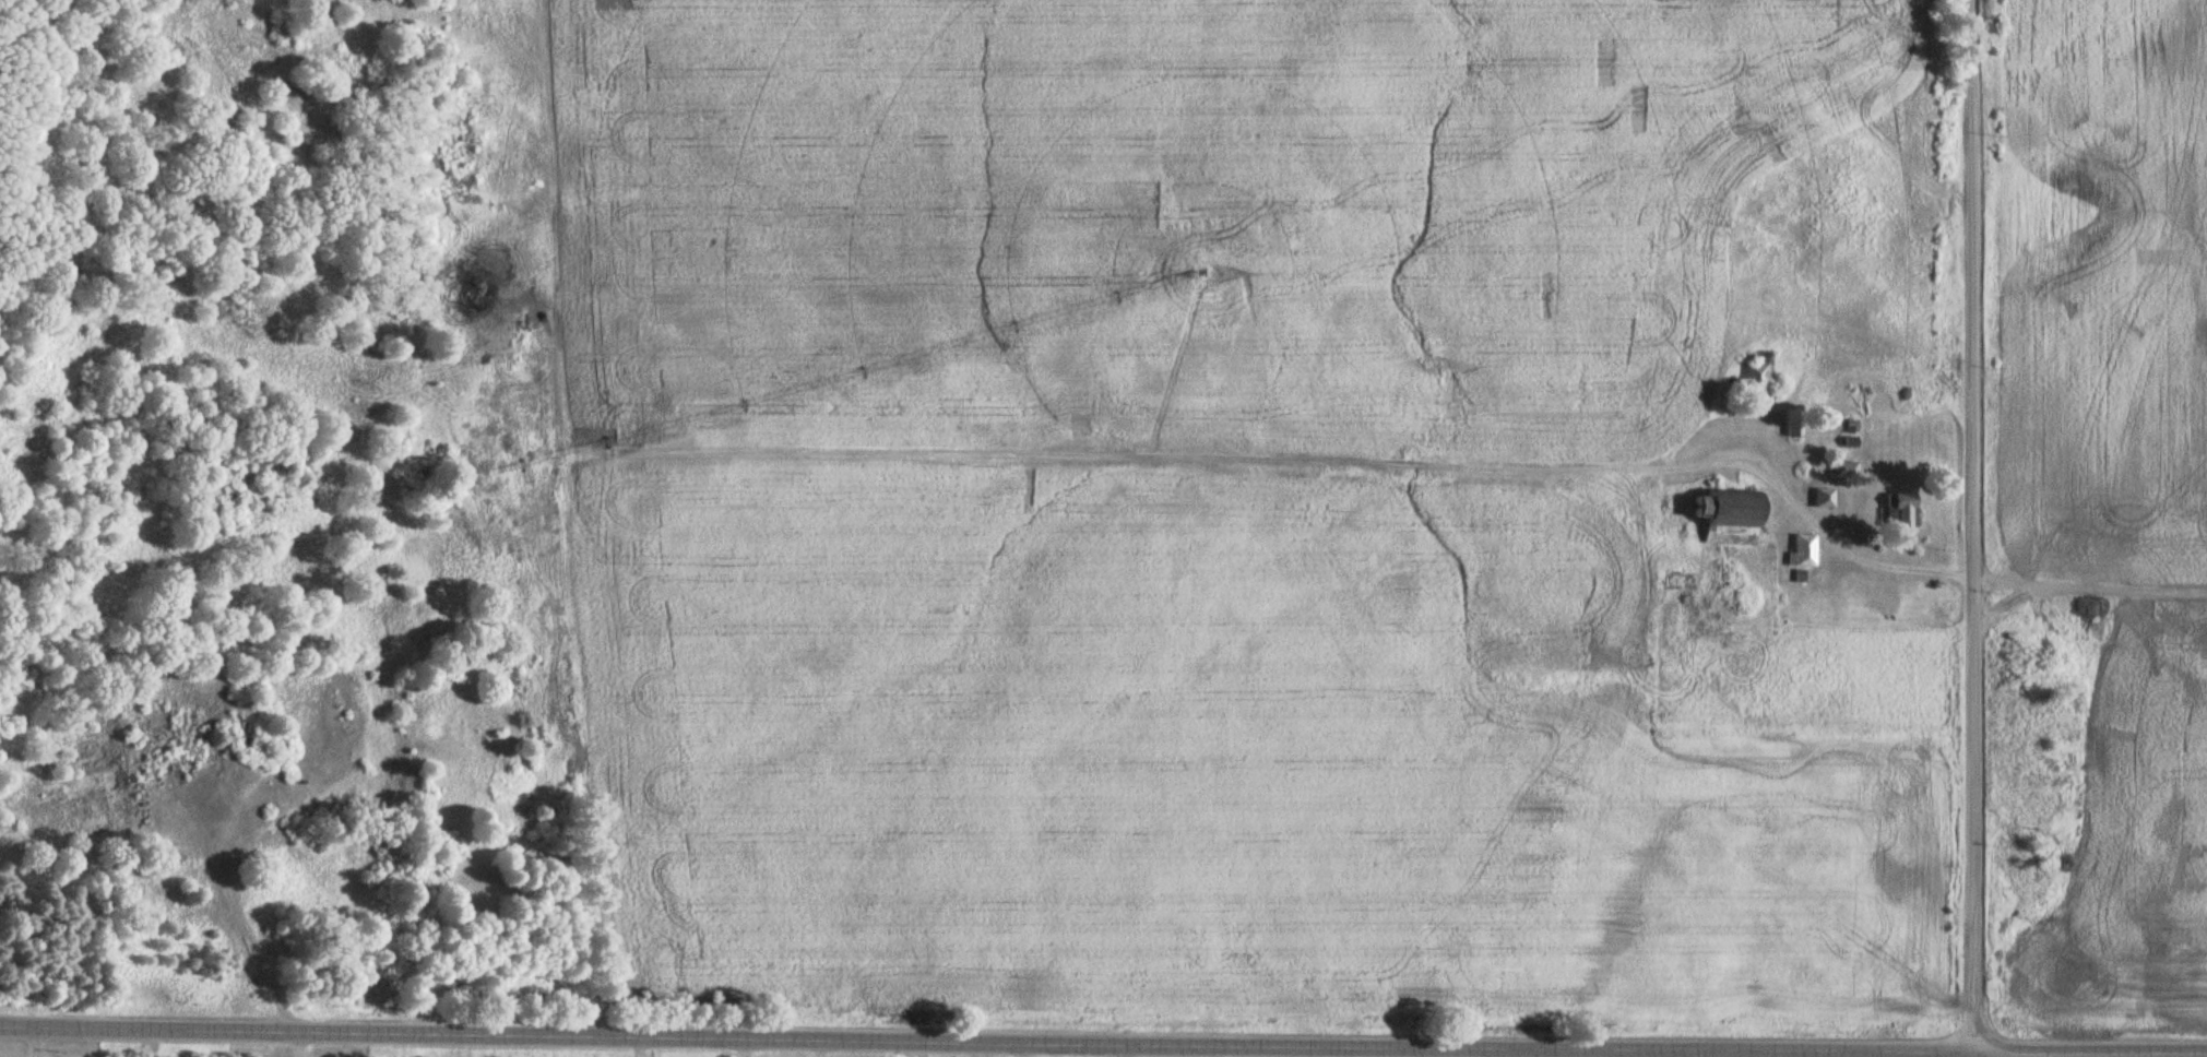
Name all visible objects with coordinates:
building: (1759, 378)
building: (1847, 470)
building: (1903, 510)
building: (1730, 518)
road: (560, 522)
road: (1971, 528)
building: (1805, 551)
road: (1103, 1044)

